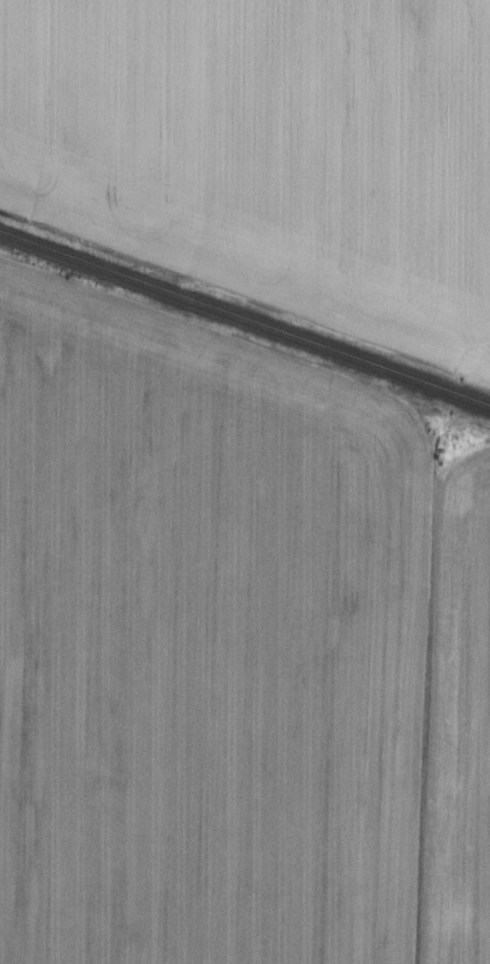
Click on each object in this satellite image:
railway: (245, 318)

